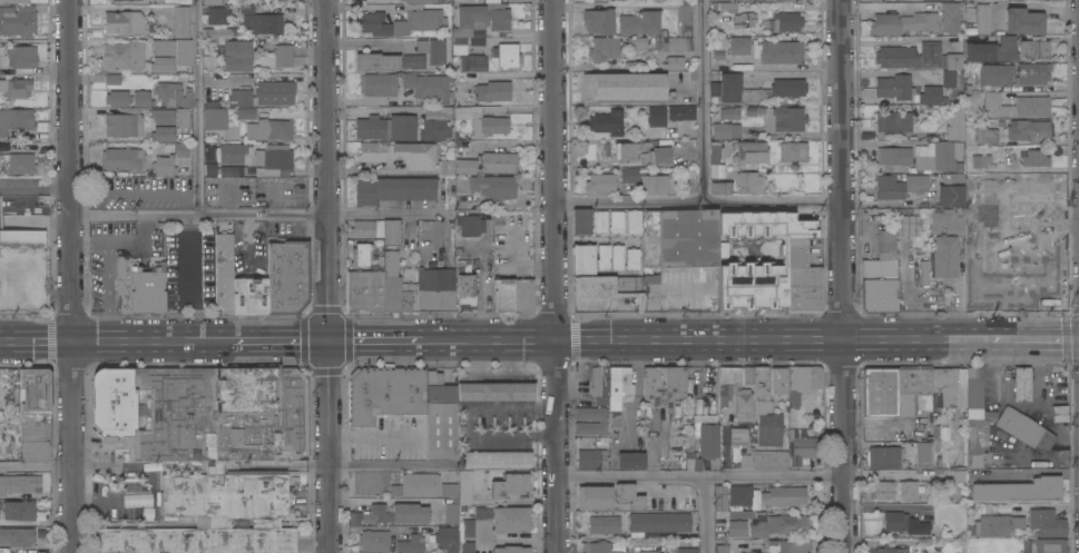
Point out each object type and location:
building: (14, 0)
building: (110, 0)
building: (419, 0)
building: (723, 0)
building: (946, 0)
building: (212, 1)
building: (467, 1)
building: (725, 6)
building: (246, 7)
road: (121, 8)
building: (217, 14)
building: (951, 17)
building: (685, 18)
building: (744, 19)
building: (18, 20)
building: (787, 20)
building: (979, 20)
building: (1022, 20)
building: (124, 21)
building: (180, 21)
building: (403, 21)
building: (478, 21)
building: (600, 21)
building: (263, 22)
building: (640, 22)
building: (902, 22)
building: (218, 32)
building: (637, 42)
building: (674, 43)
building: (738, 45)
building: (1033, 47)
building: (604, 48)
building: (432, 49)
building: (990, 50)
building: (778, 51)
building: (236, 53)
building: (283, 55)
building: (507, 55)
building: (21, 56)
building: (122, 56)
building: (910, 56)
building: (389, 60)
building: (951, 61)
building: (473, 62)
building: (674, 62)
building: (184, 63)
building: (161, 65)
building: (740, 66)
building: (969, 69)
building: (994, 73)
building: (1031, 73)
road: (793, 75)
road: (265, 77)
building: (112, 78)
building: (952, 78)
building: (377, 83)
building: (787, 83)
building: (624, 85)
building: (428, 86)
building: (16, 87)
building: (893, 88)
building: (493, 90)
building: (274, 92)
building: (174, 93)
building: (931, 95)
building: (239, 96)
building: (118, 98)
building: (143, 98)
road: (703, 101)
building: (1016, 105)
road: (199, 108)
building: (681, 112)
building: (163, 115)
building: (657, 116)
building: (183, 117)
building: (781, 117)
building: (215, 118)
building: (16, 119)
building: (607, 121)
building: (894, 121)
building: (124, 122)
building: (435, 122)
building: (955, 122)
building: (727, 124)
building: (264, 125)
building: (489, 126)
building: (386, 127)
building: (1029, 130)
building: (163, 132)
building: (985, 135)
building: (658, 142)
building: (462, 147)
building: (182, 149)
building: (626, 150)
building: (751, 151)
building: (793, 151)
building: (229, 152)
building: (400, 152)
building: (714, 152)
building: (894, 155)
building: (274, 156)
building: (660, 156)
building: (939, 156)
building: (122, 158)
building: (975, 158)
building: (1034, 158)
building: (499, 161)
building: (21, 162)
building: (164, 164)
building: (445, 164)
building: (465, 165)
building: (209, 168)
road: (553, 169)
building: (233, 170)
road: (327, 170)
building: (629, 174)
road: (36, 181)
building: (748, 181)
building: (600, 182)
building: (654, 184)
building: (900, 185)
building: (719, 186)
building: (493, 187)
building: (393, 189)
building: (951, 190)
building: (1040, 194)
road: (773, 201)
road: (629, 204)
road: (248, 216)
building: (581, 220)
building: (946, 220)
building: (599, 221)
building: (616, 221)
building: (634, 221)
building: (469, 225)
building: (908, 225)
building: (366, 228)
building: (391, 231)
building: (654, 235)
building: (688, 237)
building: (22, 238)
road: (129, 239)
road: (87, 245)
building: (361, 254)
building: (1058, 254)
building: (617, 256)
building: (943, 256)
building: (984, 257)
building: (588, 258)
building: (631, 258)
building: (923, 271)
building: (224, 273)
road: (71, 276)
building: (287, 276)
road: (844, 276)
building: (880, 276)
building: (802, 278)
building: (988, 278)
building: (124, 282)
building: (465, 284)
building: (620, 284)
building: (729, 284)
building: (148, 286)
building: (398, 286)
road: (179, 289)
building: (435, 289)
building: (365, 290)
building: (650, 292)
road: (108, 293)
building: (249, 294)
building: (513, 294)
road: (488, 339)
road: (700, 339)
road: (918, 339)
road: (1034, 339)
road: (279, 340)
road: (374, 340)
road: (150, 342)
road: (36, 343)
building: (748, 374)
building: (779, 382)
building: (802, 383)
building: (600, 384)
building: (619, 384)
building: (663, 384)
building: (1021, 384)
building: (943, 387)
building: (761, 389)
building: (893, 389)
building: (497, 392)
building: (385, 393)
building: (735, 393)
building: (114, 402)
building: (35, 413)
building: (977, 413)
building: (1058, 414)
building: (441, 417)
building: (602, 421)
building: (1023, 428)
building: (769, 429)
building: (737, 436)
road: (374, 437)
building: (709, 444)
road: (557, 445)
road: (331, 446)
building: (801, 446)
building: (691, 454)
building: (922, 454)
building: (218, 457)
building: (591, 457)
building: (884, 457)
building: (496, 458)
building: (747, 458)
building: (630, 460)
building: (771, 460)
building: (973, 462)
road: (388, 463)
road: (97, 465)
road: (37, 467)
road: (133, 470)
road: (702, 476)
building: (959, 476)
road: (149, 482)
building: (17, 484)
building: (418, 484)
building: (510, 485)
building: (465, 486)
building: (449, 490)
building: (881, 490)
building: (1019, 490)
building: (908, 491)
building: (628, 495)
building: (783, 496)
building: (594, 497)
building: (719, 497)
building: (739, 497)
road: (385, 500)
road: (126, 502)
road: (86, 503)
building: (0, 505)
road: (1036, 505)
building: (19, 510)
building: (482, 512)
building: (399, 513)
building: (451, 513)
road: (707, 514)
building: (740, 514)
building: (511, 519)
building: (658, 522)
building: (1017, 522)
building: (1046, 523)
building: (604, 524)
building: (903, 524)
building: (781, 525)
building: (991, 526)
building: (738, 527)
building: (467, 529)
building: (18, 535)
building: (447, 539)
building: (374, 540)
building: (411, 543)
building: (793, 545)
building: (1027, 545)
building: (1051, 545)
building: (468, 546)
building: (597, 547)
building: (722, 547)
building: (511, 549)
building: (687, 550)
building: (892, 550)
building: (648, 551)

